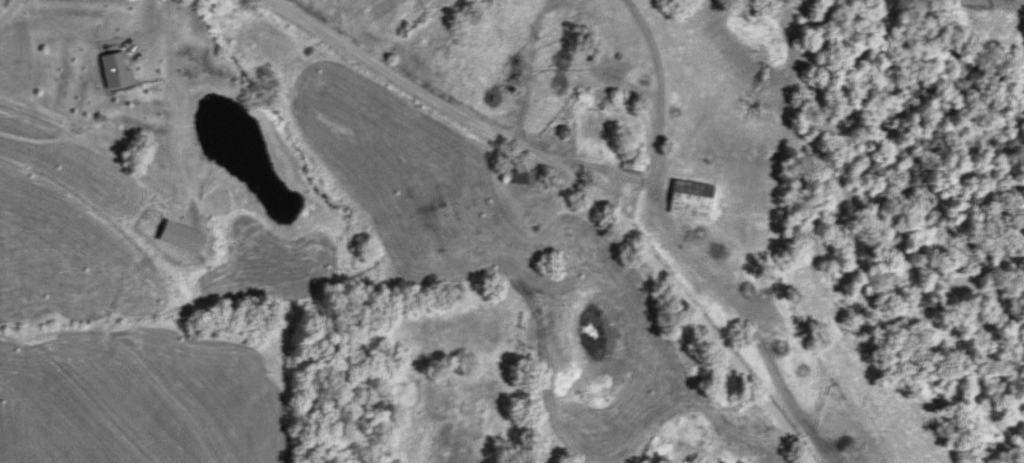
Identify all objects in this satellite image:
building: (610, 71)
building: (598, 124)
building: (633, 163)
building: (525, 176)
road: (579, 187)
building: (691, 198)

